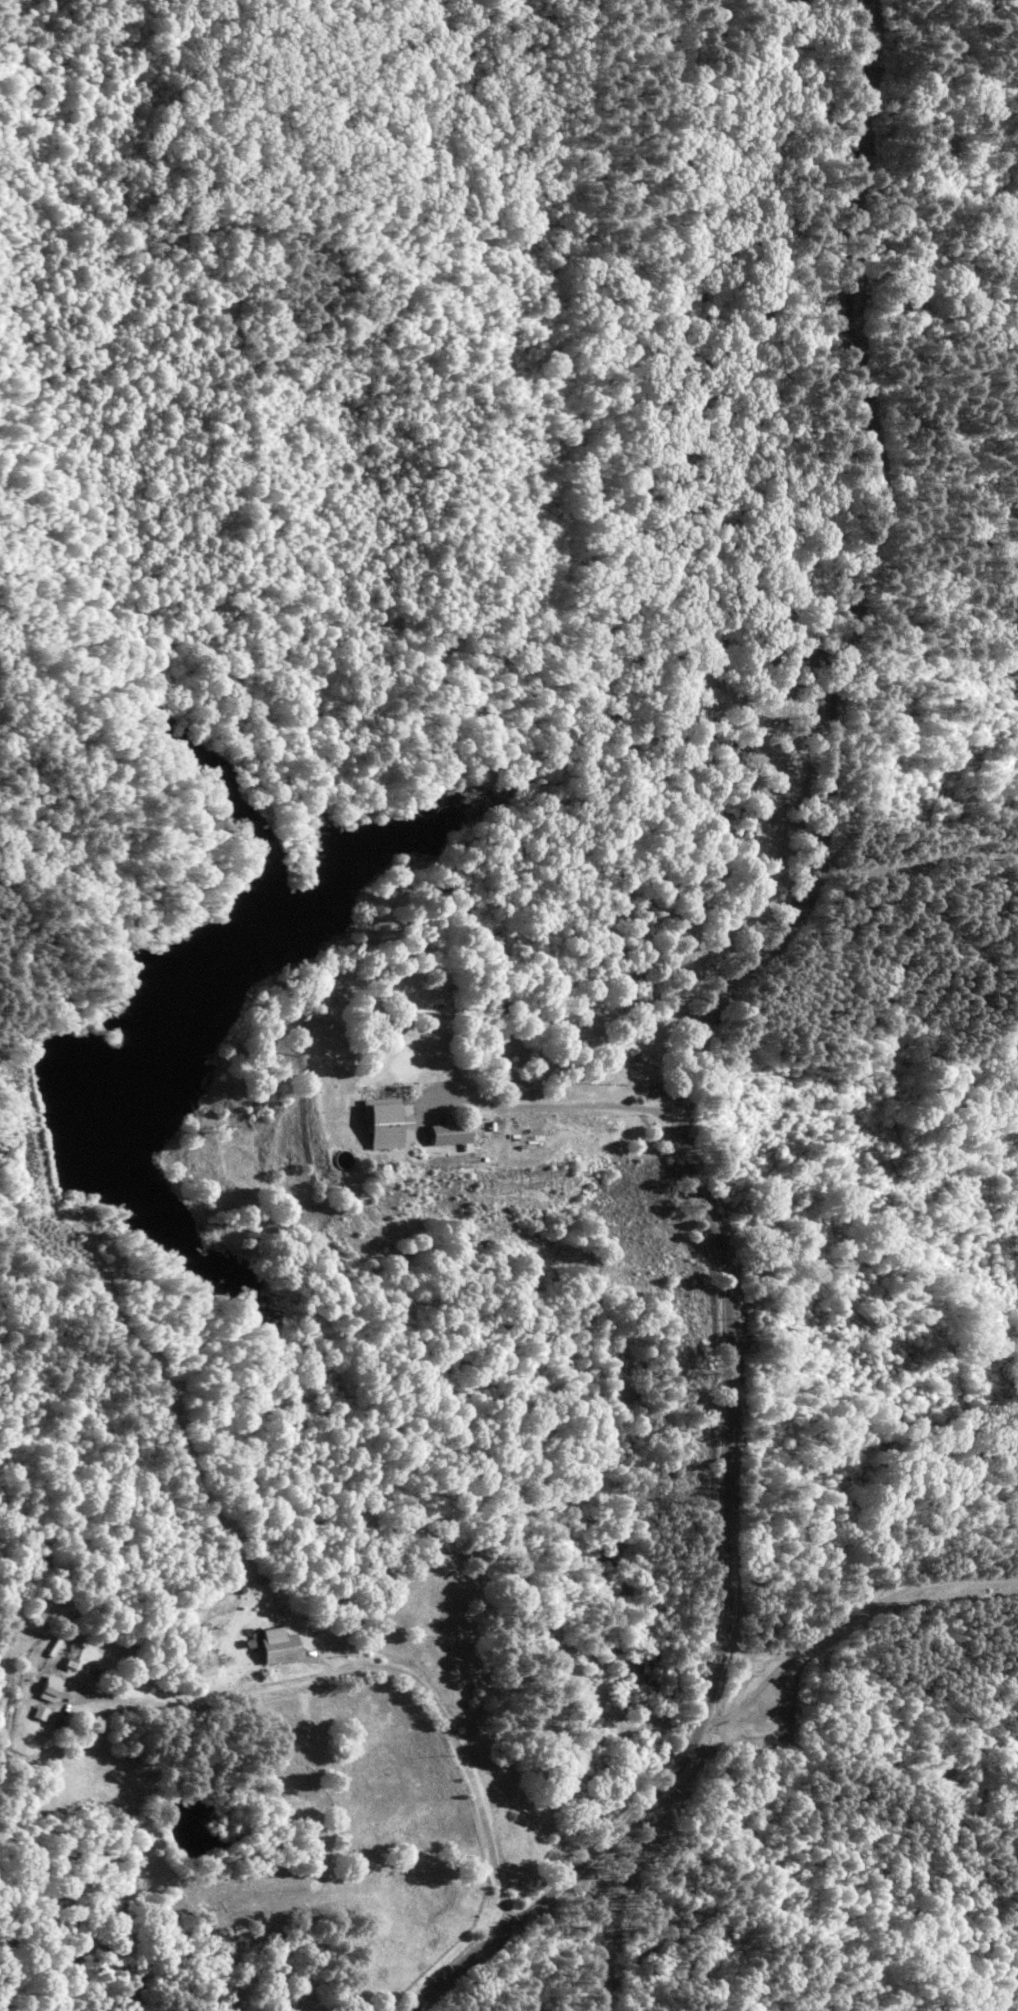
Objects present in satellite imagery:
road: (566, 836)
road: (702, 1032)
road: (560, 1103)
building: (389, 1124)
building: (449, 1135)
road: (437, 1333)
building: (277, 1649)
road: (852, 1705)
building: (34, 1714)
road: (467, 1755)
road: (253, 1880)
road: (457, 2010)

